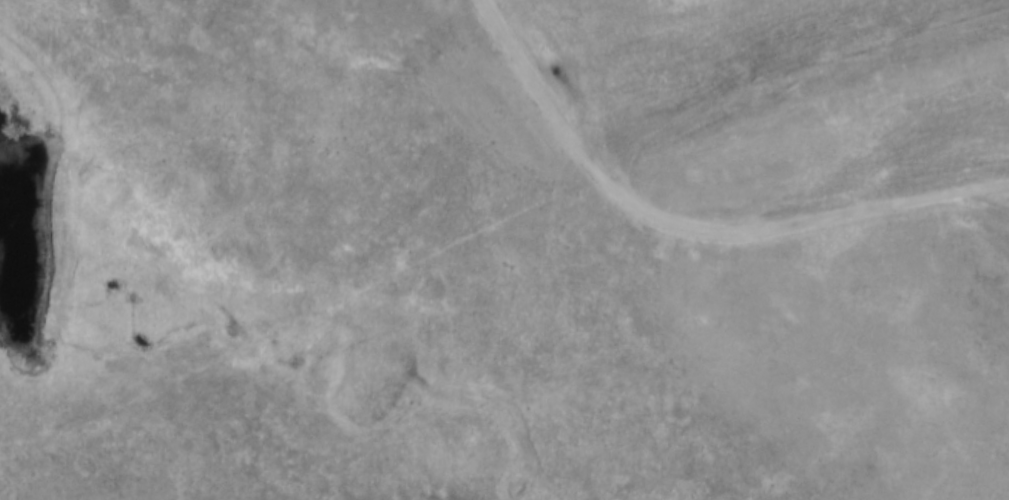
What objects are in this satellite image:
road: (698, 220)

